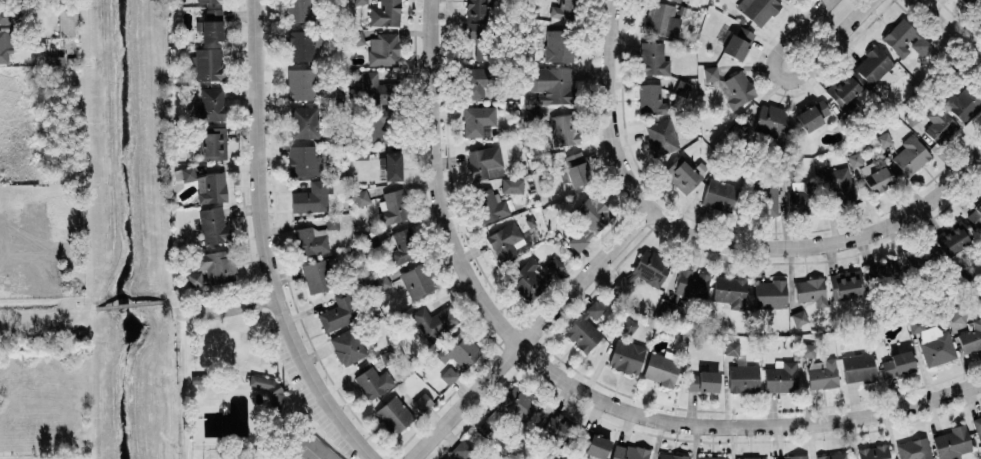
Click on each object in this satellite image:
building: (206, 0)
building: (359, 0)
building: (678, 0)
building: (969, 1)
building: (476, 8)
building: (566, 9)
building: (757, 9)
building: (300, 10)
building: (979, 10)
building: (385, 12)
building: (660, 18)
building: (66, 22)
building: (210, 24)
road: (949, 30)
building: (476, 31)
building: (354, 35)
building: (904, 39)
building: (737, 41)
building: (303, 43)
building: (559, 44)
building: (382, 48)
building: (652, 58)
building: (208, 63)
building: (874, 65)
building: (710, 72)
road: (793, 77)
building: (477, 78)
building: (300, 82)
building: (551, 84)
building: (682, 87)
building: (845, 90)
building: (651, 98)
building: (211, 100)
building: (961, 101)
building: (376, 103)
road: (607, 109)
building: (533, 113)
building: (812, 114)
building: (478, 119)
building: (770, 119)
building: (303, 121)
building: (938, 124)
building: (563, 128)
building: (661, 136)
building: (882, 139)
building: (213, 143)
building: (360, 150)
building: (909, 155)
building: (303, 160)
building: (484, 161)
building: (391, 165)
building: (576, 168)
building: (187, 172)
building: (869, 174)
building: (681, 175)
road: (438, 184)
building: (508, 184)
building: (210, 186)
building: (838, 187)
building: (717, 194)
building: (312, 195)
building: (360, 196)
building: (766, 197)
building: (800, 199)
building: (393, 205)
building: (495, 209)
building: (975, 215)
building: (588, 219)
building: (331, 221)
building: (213, 225)
building: (505, 239)
building: (310, 240)
building: (949, 240)
road: (825, 243)
road: (264, 245)
building: (403, 245)
building: (918, 259)
building: (212, 266)
building: (650, 267)
building: (319, 273)
building: (884, 275)
building: (417, 279)
building: (525, 280)
building: (690, 283)
building: (845, 284)
building: (728, 291)
building: (810, 291)
building: (768, 293)
road: (133, 303)
road: (173, 306)
road: (225, 307)
building: (665, 307)
building: (593, 310)
building: (338, 311)
road: (47, 312)
building: (958, 313)
building: (799, 315)
building: (434, 321)
building: (627, 324)
building: (581, 333)
road: (534, 334)
building: (970, 336)
building: (932, 341)
building: (347, 345)
building: (731, 347)
building: (808, 349)
building: (458, 350)
building: (625, 355)
building: (895, 363)
building: (856, 367)
building: (659, 369)
building: (821, 374)
building: (447, 375)
building: (780, 376)
building: (742, 378)
building: (701, 380)
building: (371, 382)
road: (182, 385)
building: (265, 387)
parking lot: (311, 389)
building: (517, 403)
building: (401, 410)
building: (554, 425)
road: (744, 425)
building: (977, 427)
building: (950, 442)
building: (588, 444)
building: (913, 449)
park: (310, 450)
building: (459, 450)
building: (627, 451)
building: (873, 452)
building: (671, 456)
building: (832, 456)
building: (710, 457)
building: (750, 457)
building: (789, 458)

